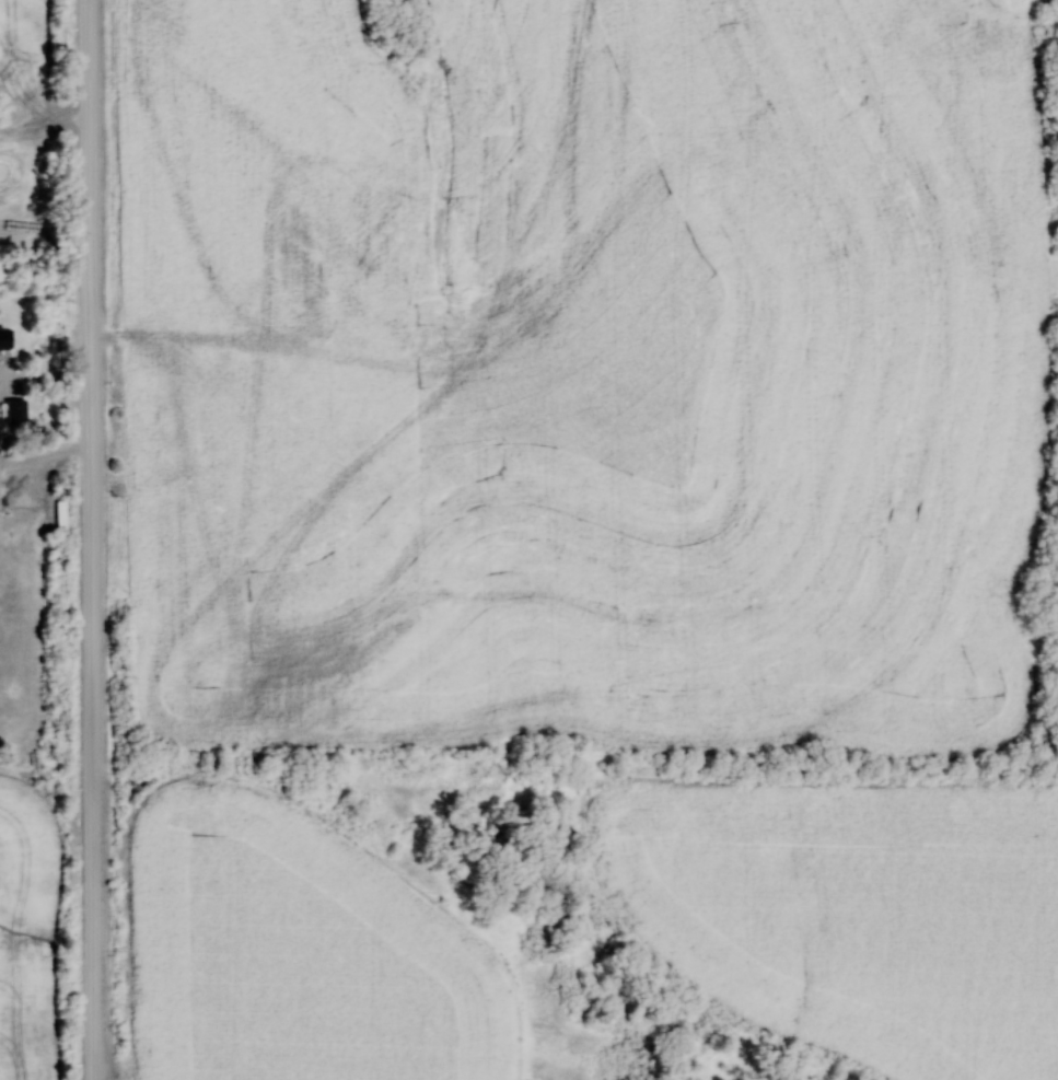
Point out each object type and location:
building: (4, 338)
road: (94, 539)

